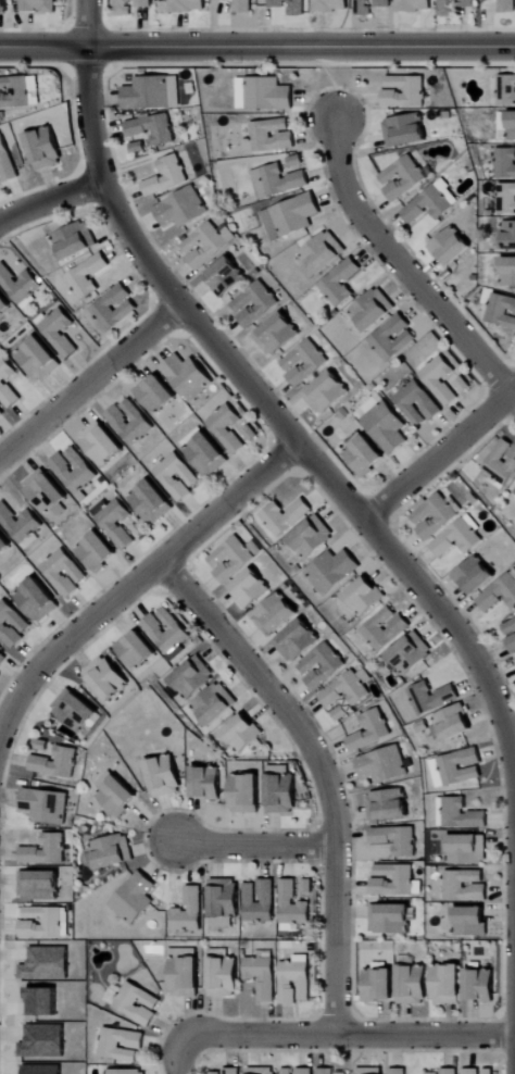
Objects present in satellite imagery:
building: (38, 5)
building: (188, 5)
building: (332, 5)
building: (416, 5)
building: (507, 5)
building: (4, 7)
building: (131, 7)
building: (242, 7)
building: (291, 7)
building: (372, 7)
building: (454, 7)
road: (87, 23)
road: (256, 47)
building: (506, 89)
building: (405, 91)
building: (14, 92)
building: (153, 92)
building: (264, 93)
building: (506, 126)
building: (153, 128)
building: (405, 130)
building: (269, 136)
building: (138, 147)
building: (46, 148)
building: (297, 160)
building: (7, 162)
building: (505, 162)
building: (167, 176)
building: (403, 177)
building: (278, 180)
building: (506, 198)
road: (50, 200)
building: (431, 203)
building: (183, 209)
building: (291, 216)
building: (508, 234)
building: (75, 240)
building: (204, 246)
building: (452, 247)
building: (322, 254)
road: (400, 265)
building: (507, 271)
building: (88, 276)
building: (226, 276)
building: (341, 283)
building: (20, 284)
building: (3, 303)
building: (254, 303)
building: (114, 308)
building: (374, 310)
building: (502, 310)
building: (60, 332)
building: (277, 335)
building: (393, 338)
building: (40, 359)
building: (304, 362)
building: (188, 376)
building: (440, 379)
road: (90, 380)
building: (8, 384)
building: (464, 385)
road: (512, 389)
building: (327, 392)
building: (156, 394)
road: (512, 395)
building: (418, 403)
building: (1, 413)
road: (276, 419)
building: (130, 422)
building: (385, 423)
building: (228, 428)
building: (102, 444)
building: (364, 453)
building: (208, 454)
road: (436, 457)
building: (502, 462)
building: (75, 470)
building: (178, 476)
building: (46, 491)
building: (151, 501)
building: (435, 514)
building: (286, 516)
building: (114, 522)
building: (21, 525)
building: (312, 538)
building: (459, 539)
building: (3, 544)
building: (98, 551)
building: (233, 559)
building: (334, 571)
building: (65, 573)
building: (476, 576)
road: (139, 578)
building: (253, 589)
building: (500, 594)
building: (366, 596)
building: (38, 599)
building: (276, 615)
building: (12, 625)
building: (386, 628)
building: (166, 630)
building: (511, 634)
building: (299, 641)
building: (137, 650)
building: (411, 654)
building: (2, 659)
building: (323, 666)
building: (106, 678)
building: (192, 678)
building: (347, 691)
building: (431, 697)
building: (215, 704)
building: (75, 710)
building: (341, 713)
building: (452, 724)
building: (372, 732)
building: (243, 734)
building: (40, 746)
building: (56, 763)
building: (384, 765)
building: (456, 767)
road: (322, 771)
building: (166, 776)
building: (210, 783)
building: (117, 794)
building: (247, 794)
building: (282, 794)
building: (46, 806)
building: (388, 806)
building: (459, 814)
building: (398, 840)
road: (255, 844)
building: (465, 850)
building: (47, 851)
building: (112, 852)
building: (40, 885)
building: (465, 886)
building: (135, 899)
building: (260, 901)
building: (225, 902)
building: (292, 907)
building: (189, 912)
building: (391, 919)
building: (470, 921)
building: (42, 923)
building: (186, 973)
building: (225, 977)
building: (263, 977)
building: (297, 979)
building: (381, 985)
building: (414, 985)
building: (449, 985)
building: (481, 985)
road: (364, 1036)
building: (121, 1045)
road: (188, 1046)
building: (263, 1071)
building: (288, 1071)
building: (304, 1071)
building: (369, 1071)
building: (398, 1071)
building: (472, 1071)
building: (125, 1072)
building: (226, 1072)
building: (332, 1072)
building: (448, 1072)

